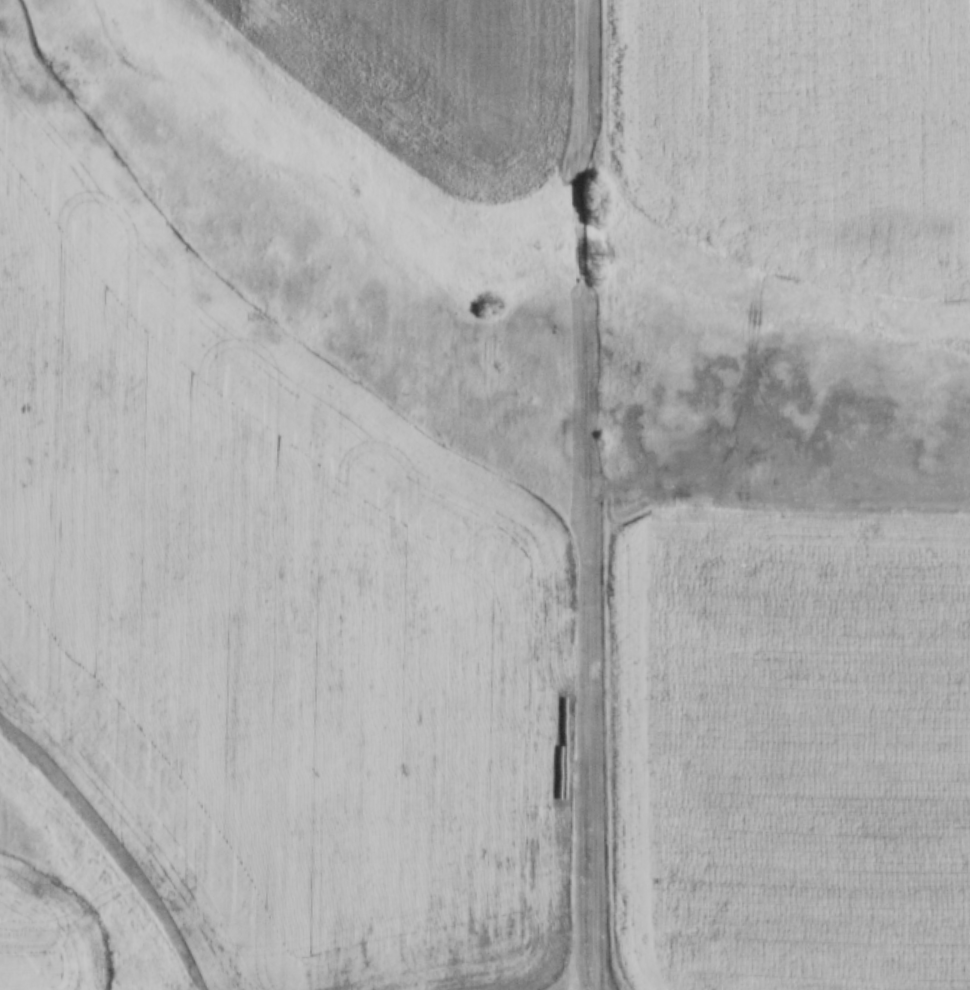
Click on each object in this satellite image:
road: (596, 494)

